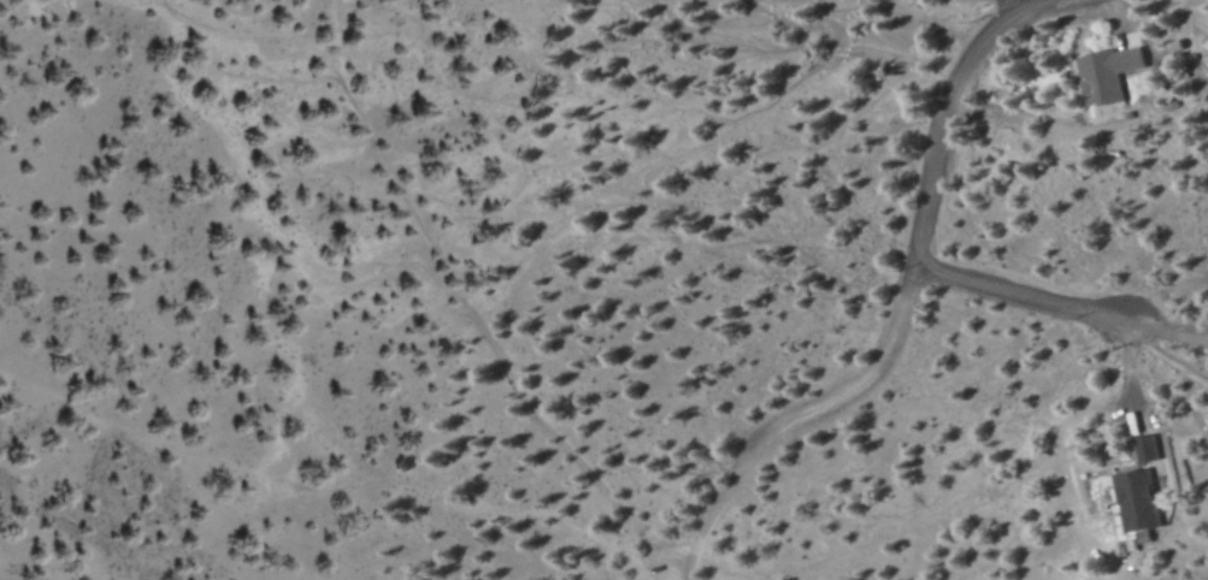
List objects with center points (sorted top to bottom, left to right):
building: (1108, 72)
road: (1030, 296)
road: (903, 302)
building: (1139, 486)

